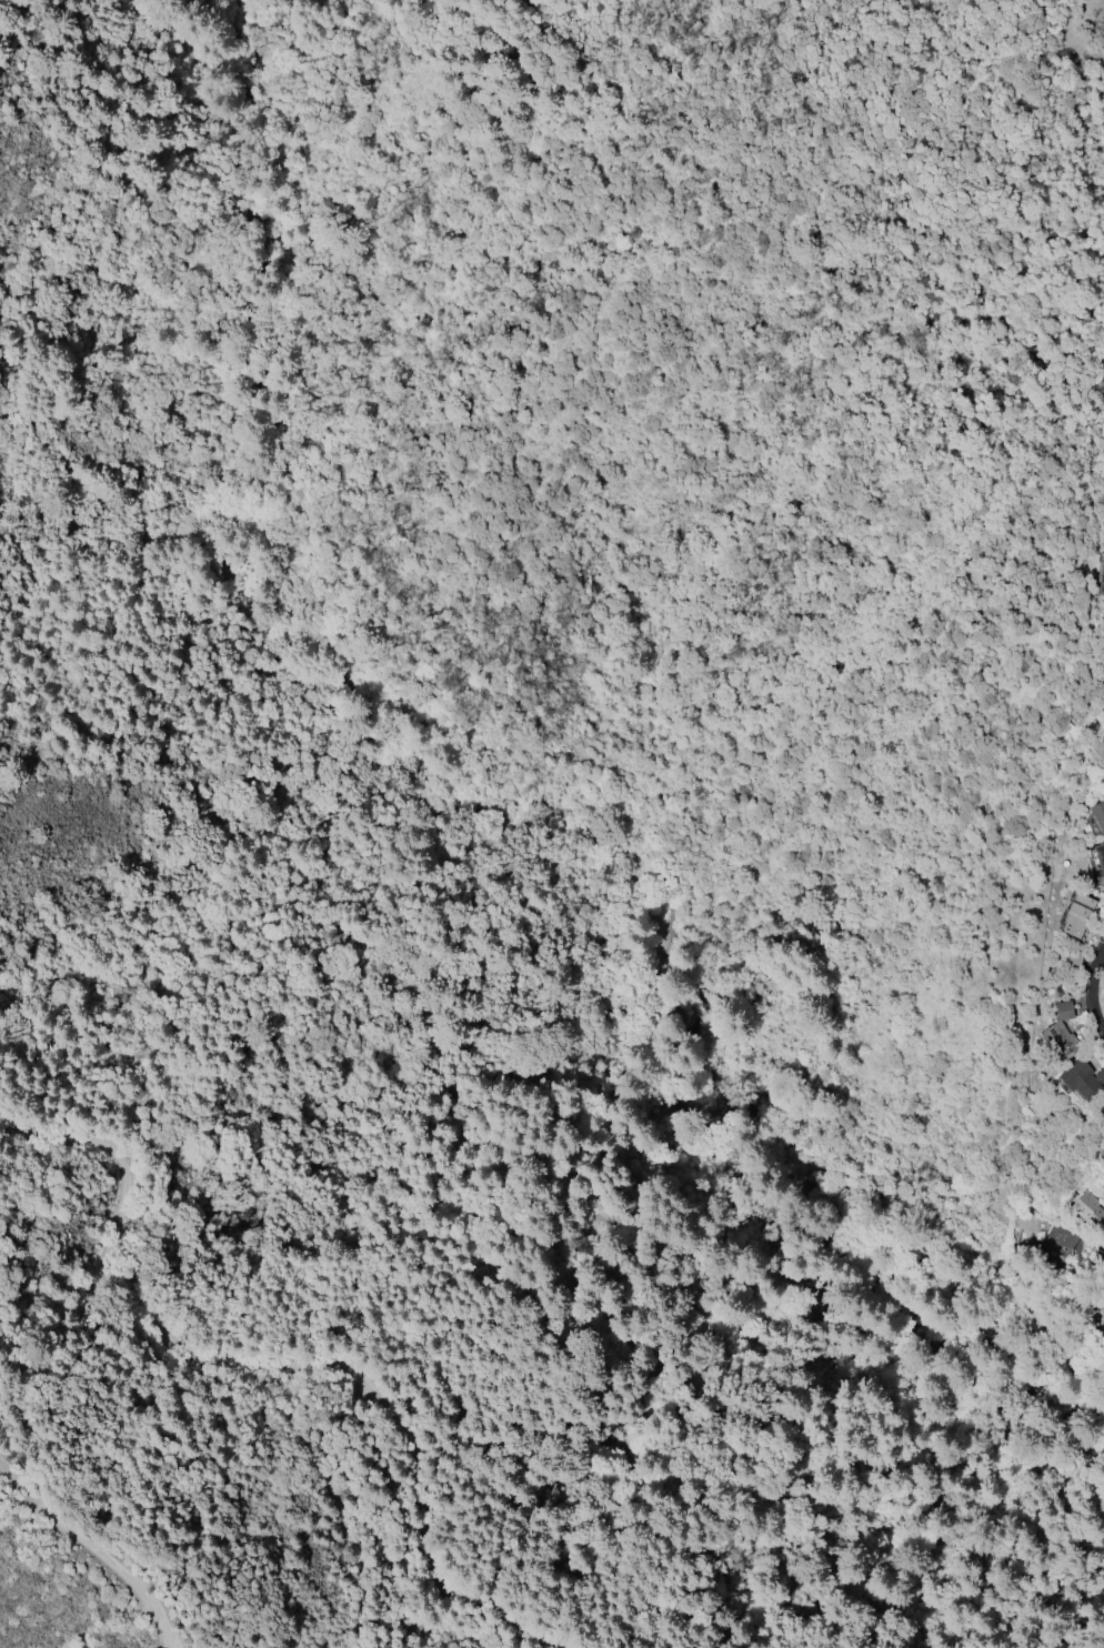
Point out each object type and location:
road: (684, 1)
road: (785, 139)
road: (849, 227)
road: (548, 302)
road: (233, 375)
road: (372, 404)
road: (405, 425)
road: (335, 479)
road: (277, 551)
building: (1101, 576)
road: (349, 602)
road: (460, 667)
road: (348, 699)
building: (1097, 815)
building: (1100, 856)
building: (1076, 914)
road: (608, 936)
road: (1090, 991)
building: (1061, 1034)
building: (1082, 1078)
building: (1102, 1108)
building: (1088, 1210)
road: (797, 1235)
building: (1060, 1240)
road: (946, 1351)
road: (289, 1361)
road: (364, 1504)
road: (94, 1551)

